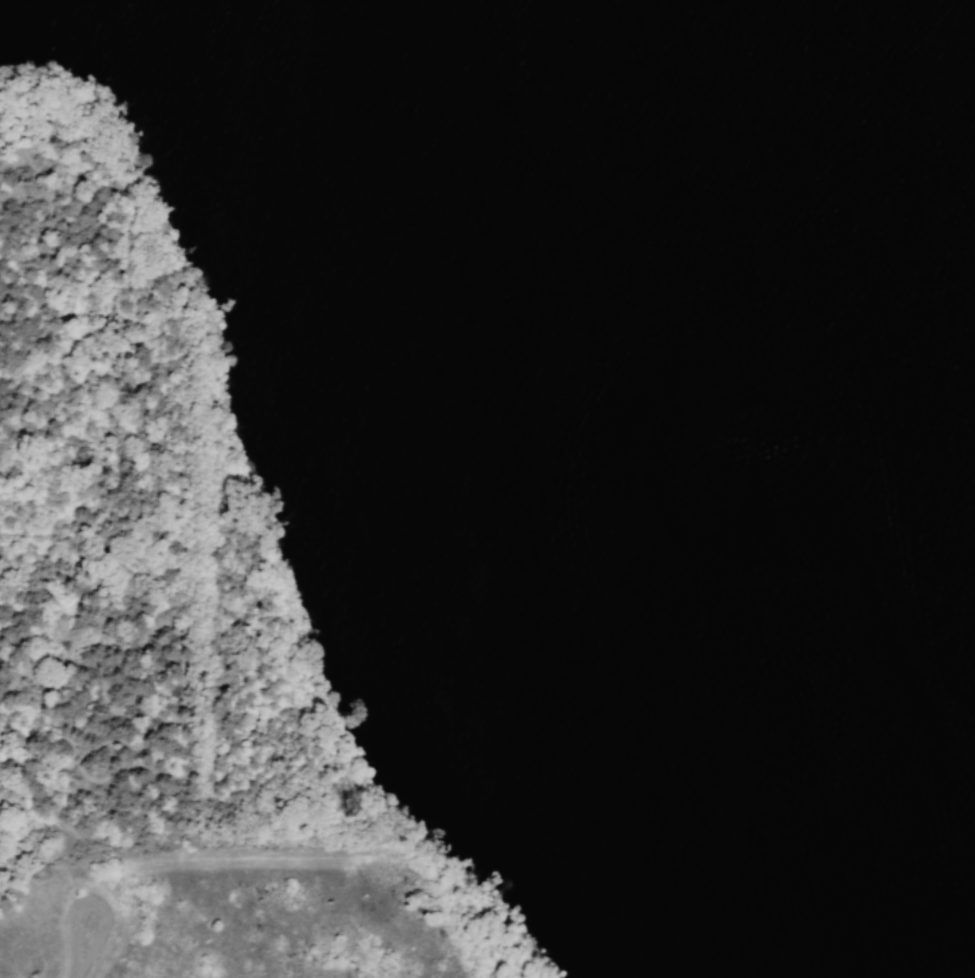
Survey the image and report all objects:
road: (105, 229)
road: (1, 294)
park: (487, 489)
road: (89, 774)
road: (84, 940)

